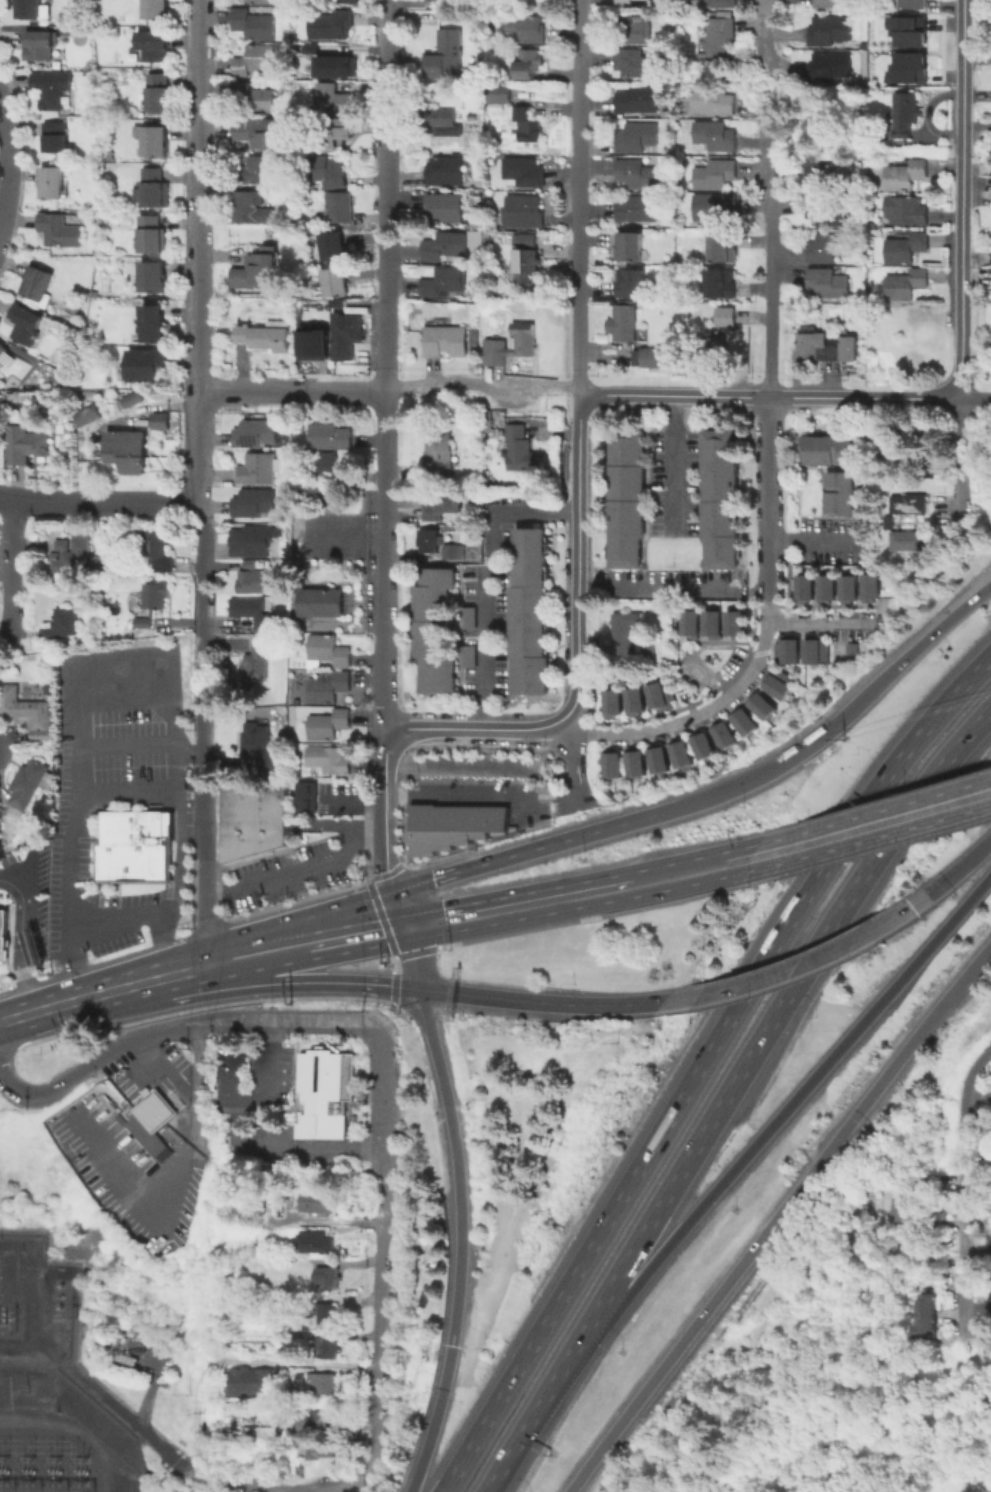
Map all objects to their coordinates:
building: (440, 0)
building: (261, 2)
building: (353, 2)
building: (714, 3)
building: (626, 4)
building: (832, 4)
building: (914, 5)
building: (33, 10)
building: (157, 10)
building: (256, 27)
building: (330, 27)
building: (906, 30)
building: (629, 31)
building: (524, 32)
road: (764, 32)
building: (830, 32)
building: (716, 37)
building: (40, 47)
building: (154, 47)
building: (447, 56)
building: (256, 62)
building: (532, 62)
building: (331, 65)
building: (637, 65)
building: (828, 68)
building: (907, 68)
building: (52, 90)
building: (159, 94)
building: (498, 94)
building: (253, 100)
building: (335, 102)
building: (638, 102)
building: (713, 102)
building: (905, 115)
building: (443, 124)
building: (526, 125)
building: (334, 133)
building: (256, 134)
building: (717, 137)
building: (56, 139)
building: (638, 139)
building: (154, 142)
road: (9, 166)
building: (831, 167)
building: (329, 170)
building: (257, 172)
building: (446, 172)
building: (524, 173)
building: (717, 175)
building: (638, 176)
building: (904, 176)
building: (52, 185)
building: (155, 190)
road: (195, 195)
road: (577, 200)
road: (962, 200)
building: (247, 206)
building: (715, 207)
building: (340, 208)
building: (443, 209)
building: (638, 210)
building: (906, 210)
building: (828, 212)
building: (522, 213)
building: (59, 232)
building: (152, 236)
building: (527, 241)
building: (446, 247)
building: (330, 248)
building: (724, 248)
building: (630, 249)
building: (828, 250)
building: (905, 250)
building: (527, 263)
building: (258, 271)
building: (153, 278)
building: (444, 282)
building: (332, 284)
building: (828, 284)
building: (39, 285)
building: (633, 285)
building: (720, 285)
building: (907, 285)
building: (726, 318)
building: (623, 322)
building: (153, 325)
building: (26, 326)
road: (770, 328)
building: (348, 333)
building: (266, 337)
building: (477, 338)
building: (525, 340)
building: (311, 342)
building: (447, 342)
building: (709, 347)
building: (826, 348)
building: (496, 353)
building: (6, 357)
building: (654, 359)
road: (382, 364)
building: (148, 366)
road: (485, 384)
road: (244, 391)
road: (337, 391)
road: (773, 399)
road: (976, 400)
building: (129, 401)
building: (90, 416)
building: (162, 423)
building: (487, 426)
building: (256, 435)
road: (195, 437)
building: (331, 438)
building: (26, 444)
building: (826, 448)
building: (520, 449)
building: (126, 453)
building: (440, 457)
building: (888, 463)
road: (671, 464)
road: (961, 464)
building: (323, 466)
building: (261, 470)
building: (838, 492)
building: (627, 500)
building: (723, 500)
road: (98, 501)
building: (905, 503)
building: (256, 504)
building: (444, 508)
building: (885, 519)
building: (905, 539)
road: (815, 540)
building: (428, 542)
building: (250, 543)
building: (160, 549)
building: (450, 551)
building: (72, 554)
road: (578, 560)
road: (11, 566)
road: (771, 574)
road: (483, 577)
building: (253, 580)
building: (868, 586)
building: (802, 587)
building: (825, 588)
building: (847, 588)
road: (655, 590)
building: (157, 597)
building: (319, 602)
building: (252, 612)
building: (531, 612)
road: (770, 612)
building: (435, 613)
building: (470, 620)
building: (689, 623)
building: (711, 623)
building: (733, 623)
road: (822, 623)
building: (63, 625)
building: (144, 625)
building: (624, 635)
building: (850, 648)
building: (785, 649)
building: (813, 651)
building: (328, 652)
building: (470, 658)
building: (258, 661)
road: (121, 662)
road: (202, 669)
road: (893, 674)
building: (440, 675)
building: (775, 682)
building: (49, 688)
building: (329, 689)
building: (659, 695)
road: (126, 699)
building: (633, 700)
building: (611, 701)
building: (759, 704)
building: (26, 711)
road: (695, 716)
building: (741, 720)
building: (328, 726)
road: (475, 730)
building: (721, 733)
road: (126, 743)
building: (700, 744)
building: (259, 748)
building: (678, 751)
building: (656, 757)
building: (330, 760)
building: (633, 761)
road: (575, 762)
building: (610, 762)
building: (27, 785)
road: (736, 788)
road: (126, 792)
road: (566, 792)
road: (464, 795)
road: (528, 796)
road: (543, 796)
building: (307, 797)
road: (384, 810)
building: (253, 818)
building: (452, 824)
road: (870, 829)
building: (134, 846)
road: (534, 847)
road: (960, 869)
road: (295, 871)
road: (690, 872)
traffic signals: (393, 889)
road: (399, 905)
road: (518, 906)
road: (206, 909)
road: (380, 916)
road: (117, 921)
traffic signals: (406, 922)
road: (303, 923)
building: (3, 933)
road: (344, 933)
road: (21, 939)
road: (250, 954)
road: (389, 962)
road: (206, 964)
road: (802, 966)
road: (395, 970)
road: (293, 984)
road: (407, 988)
traffic signals: (419, 990)
road: (97, 993)
road: (540, 1003)
road: (775, 1018)
road: (286, 1021)
road: (92, 1062)
road: (704, 1065)
road: (269, 1074)
building: (327, 1091)
road: (787, 1110)
road: (448, 1112)
building: (135, 1113)
road: (383, 1119)
road: (247, 1147)
road: (966, 1186)
building: (246, 1202)
building: (318, 1202)
building: (898, 1210)
road: (774, 1217)
road: (324, 1220)
building: (316, 1245)
road: (980, 1258)
building: (329, 1278)
building: (925, 1303)
building: (328, 1315)
road: (455, 1326)
building: (923, 1326)
road: (378, 1333)
building: (988, 1343)
building: (329, 1350)
road: (235, 1361)
building: (251, 1385)
building: (324, 1385)
power substation: (50, 1390)
road: (535, 1416)
building: (321, 1419)
road: (436, 1420)
building: (257, 1432)
building: (271, 1438)
building: (319, 1451)
road: (209, 1480)
road: (326, 1491)

